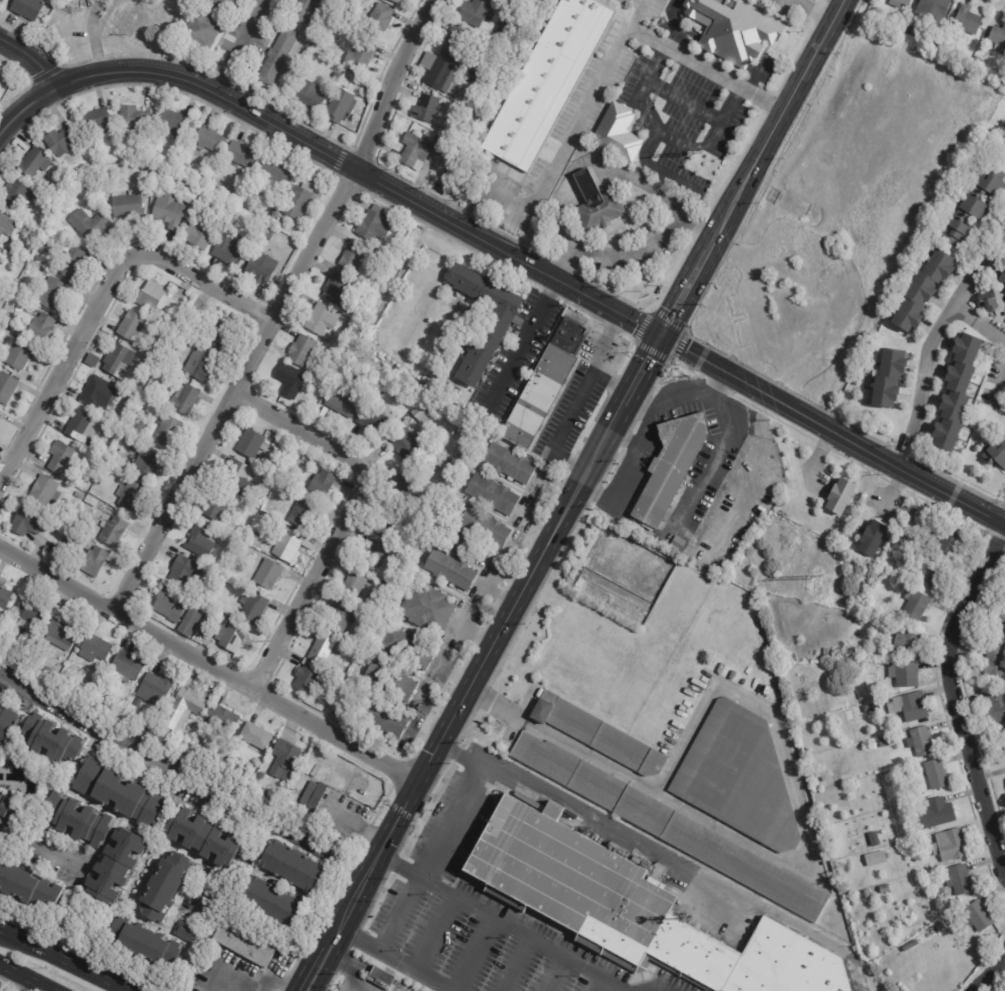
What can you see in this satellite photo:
road: (787, 0)
building: (1, 1)
building: (396, 2)
building: (898, 3)
building: (221, 5)
building: (27, 9)
building: (934, 9)
building: (302, 11)
road: (807, 11)
road: (95, 12)
building: (474, 12)
road: (106, 14)
building: (348, 21)
building: (378, 21)
building: (502, 21)
building: (967, 21)
building: (907, 28)
building: (733, 29)
building: (344, 30)
building: (201, 31)
building: (492, 37)
building: (998, 38)
building: (454, 42)
road: (237, 46)
road: (98, 50)
building: (361, 56)
road: (31, 57)
building: (276, 57)
building: (977, 60)
building: (441, 74)
building: (309, 78)
road: (597, 80)
building: (547, 81)
building: (327, 95)
building: (308, 99)
building: (340, 107)
building: (426, 108)
road: (29, 109)
building: (133, 116)
building: (95, 119)
building: (172, 122)
road: (773, 125)
building: (453, 128)
building: (617, 133)
building: (208, 139)
building: (435, 141)
building: (1004, 141)
building: (60, 142)
building: (1002, 150)
building: (415, 152)
building: (240, 154)
power tower: (696, 154)
building: (19, 159)
building: (100, 161)
building: (162, 162)
building: (34, 163)
building: (90, 167)
building: (272, 174)
building: (145, 175)
building: (200, 181)
road: (585, 182)
road: (647, 182)
building: (239, 186)
building: (16, 195)
building: (59, 195)
building: (188, 198)
building: (298, 199)
building: (596, 204)
building: (127, 206)
building: (973, 207)
building: (167, 211)
building: (275, 216)
road: (561, 217)
building: (87, 224)
building: (6, 225)
building: (373, 225)
building: (267, 228)
building: (197, 235)
building: (265, 237)
building: (274, 237)
building: (43, 248)
building: (19, 249)
building: (228, 250)
road: (634, 250)
building: (352, 255)
building: (38, 258)
building: (71, 263)
building: (260, 268)
road: (538, 269)
building: (1000, 276)
building: (366, 277)
building: (274, 282)
building: (340, 289)
building: (1004, 289)
building: (923, 291)
building: (174, 292)
road: (682, 293)
building: (52, 294)
building: (151, 297)
building: (987, 301)
road: (103, 302)
road: (280, 309)
building: (192, 316)
building: (176, 318)
building: (321, 319)
building: (497, 325)
road: (977, 325)
building: (11, 326)
building: (130, 326)
building: (464, 328)
building: (40, 329)
building: (214, 330)
road: (932, 335)
traffic signals: (659, 337)
road: (524, 340)
building: (301, 351)
building: (19, 353)
building: (91, 360)
building: (117, 361)
building: (146, 362)
building: (199, 366)
road: (641, 370)
building: (889, 379)
building: (289, 380)
road: (1000, 384)
building: (545, 385)
road: (717, 386)
building: (7, 387)
building: (451, 390)
building: (956, 392)
building: (96, 394)
building: (394, 395)
road: (580, 398)
building: (183, 399)
building: (342, 401)
road: (642, 405)
building: (419, 415)
building: (369, 419)
building: (132, 425)
building: (83, 427)
building: (167, 430)
road: (625, 439)
building: (250, 444)
building: (402, 445)
road: (601, 445)
road: (641, 446)
road: (717, 449)
building: (452, 453)
building: (996, 454)
building: (104, 456)
building: (113, 456)
building: (59, 458)
building: (434, 458)
building: (147, 464)
building: (508, 464)
building: (671, 466)
building: (132, 470)
building: (232, 474)
building: (142, 482)
building: (320, 485)
building: (401, 487)
building: (42, 492)
building: (491, 494)
building: (840, 495)
building: (129, 496)
building: (782, 502)
building: (319, 504)
building: (216, 507)
building: (914, 508)
road: (1000, 511)
building: (300, 514)
building: (908, 516)
road: (345, 517)
building: (25, 522)
building: (387, 527)
building: (483, 528)
building: (901, 530)
building: (111, 531)
building: (872, 537)
building: (945, 539)
building: (255, 541)
building: (199, 542)
building: (290, 546)
building: (47, 550)
building: (372, 556)
building: (96, 560)
building: (449, 570)
building: (186, 572)
building: (931, 572)
building: (267, 575)
building: (207, 577)
power tower: (816, 579)
building: (352, 586)
building: (385, 586)
building: (4, 597)
building: (170, 604)
building: (915, 604)
building: (252, 609)
building: (427, 609)
building: (29, 613)
building: (999, 615)
building: (191, 620)
building: (338, 620)
building: (60, 629)
road: (476, 635)
building: (230, 636)
building: (907, 640)
building: (93, 647)
building: (407, 649)
building: (320, 650)
building: (992, 657)
building: (126, 666)
road: (210, 666)
road: (456, 673)
building: (904, 673)
building: (305, 679)
building: (390, 681)
building: (154, 688)
building: (211, 688)
building: (208, 695)
building: (769, 696)
building: (878, 696)
road: (957, 700)
building: (120, 703)
building: (137, 703)
road: (440, 704)
building: (996, 704)
building: (875, 705)
building: (910, 705)
building: (182, 708)
building: (867, 709)
road: (461, 710)
building: (221, 717)
building: (381, 718)
building: (7, 724)
building: (598, 734)
building: (171, 736)
building: (256, 736)
building: (50, 739)
road: (425, 739)
building: (1003, 739)
building: (883, 740)
building: (921, 742)
building: (282, 759)
road: (187, 766)
building: (317, 772)
building: (936, 773)
building: (261, 776)
building: (740, 777)
building: (273, 785)
building: (118, 792)
building: (313, 795)
building: (288, 797)
building: (7, 808)
building: (936, 813)
building: (74, 819)
road: (459, 823)
building: (670, 826)
building: (203, 838)
building: (874, 838)
building: (950, 844)
road: (664, 853)
road: (42, 854)
building: (876, 858)
road: (780, 860)
building: (289, 865)
building: (114, 866)
building: (573, 879)
building: (959, 879)
building: (29, 888)
building: (165, 888)
building: (884, 889)
building: (874, 891)
building: (867, 894)
building: (269, 901)
building: (978, 916)
road: (504, 923)
building: (185, 932)
building: (142, 942)
building: (245, 942)
road: (336, 942)
road: (476, 955)
road: (58, 961)
road: (394, 962)
road: (354, 967)
road: (992, 970)
road: (320, 971)
building: (382, 978)
road: (998, 978)
road: (22, 979)
road: (249, 984)

